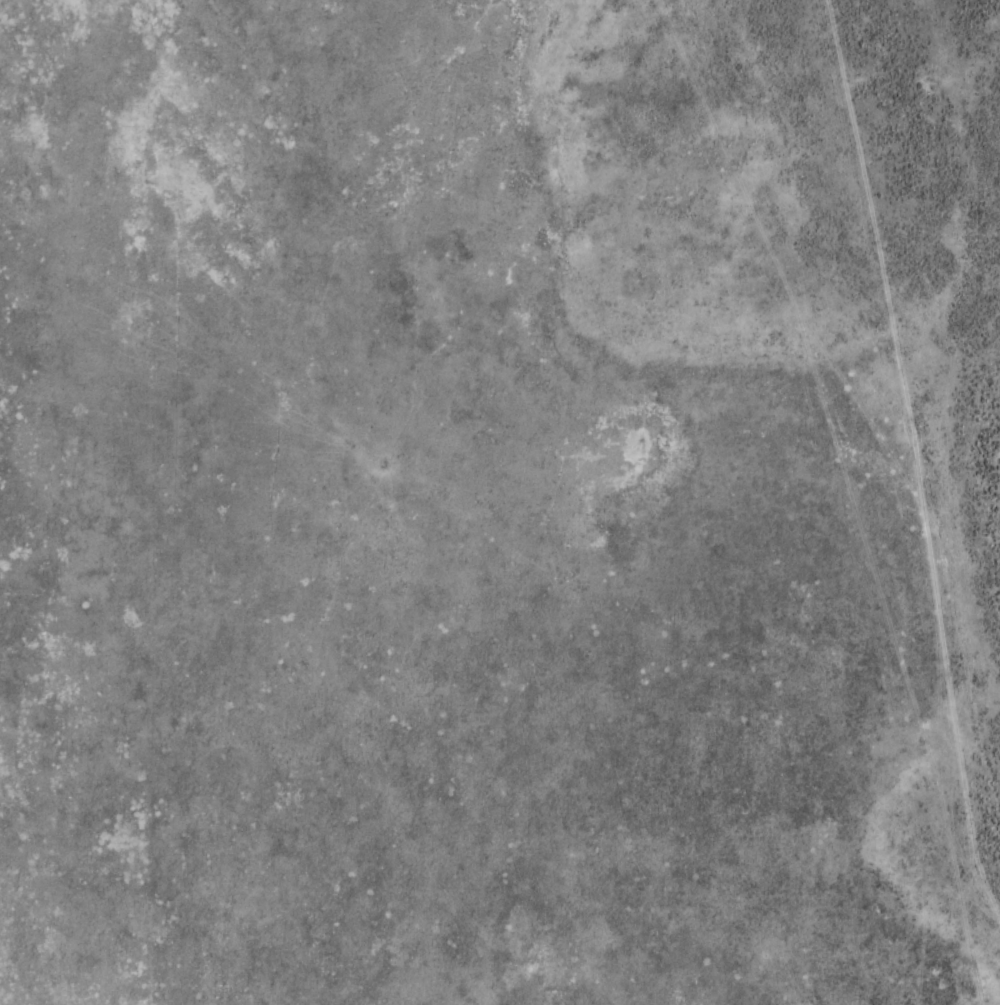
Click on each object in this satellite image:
crop: (500, 502)

